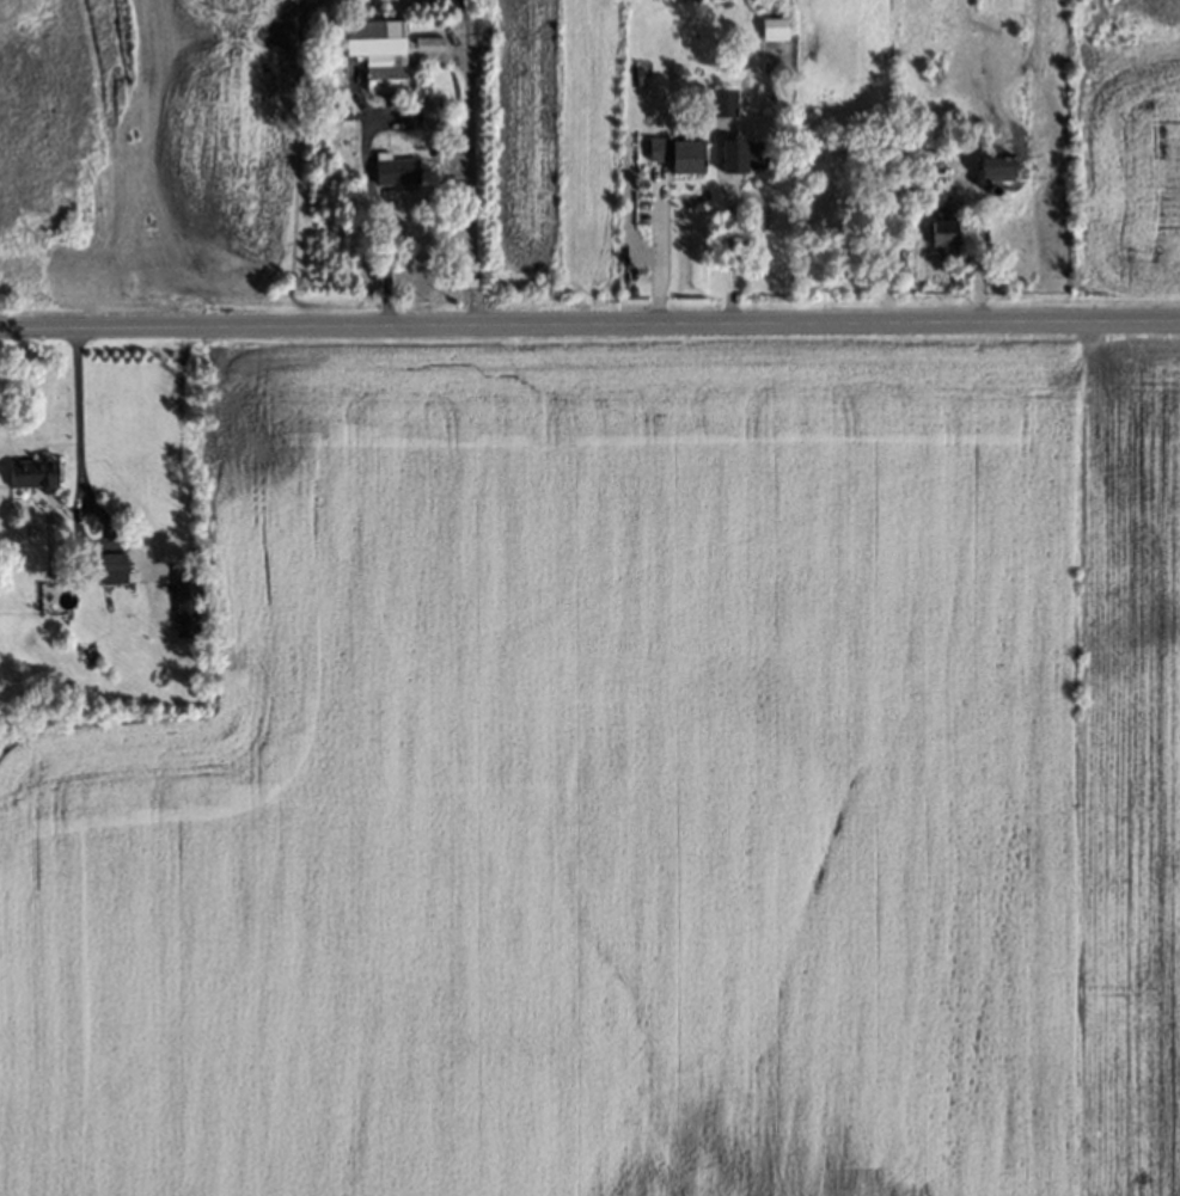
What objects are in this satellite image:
building: (772, 32)
building: (378, 54)
building: (331, 80)
building: (722, 108)
building: (429, 117)
building: (344, 118)
building: (740, 159)
building: (673, 161)
building: (904, 162)
road: (472, 164)
building: (992, 172)
building: (395, 173)
road: (375, 215)
building: (942, 235)
road: (655, 250)
road: (728, 253)
building: (886, 264)
road: (589, 326)
road: (77, 394)
building: (41, 476)
building: (112, 570)
building: (183, 596)
crop: (1131, 778)

